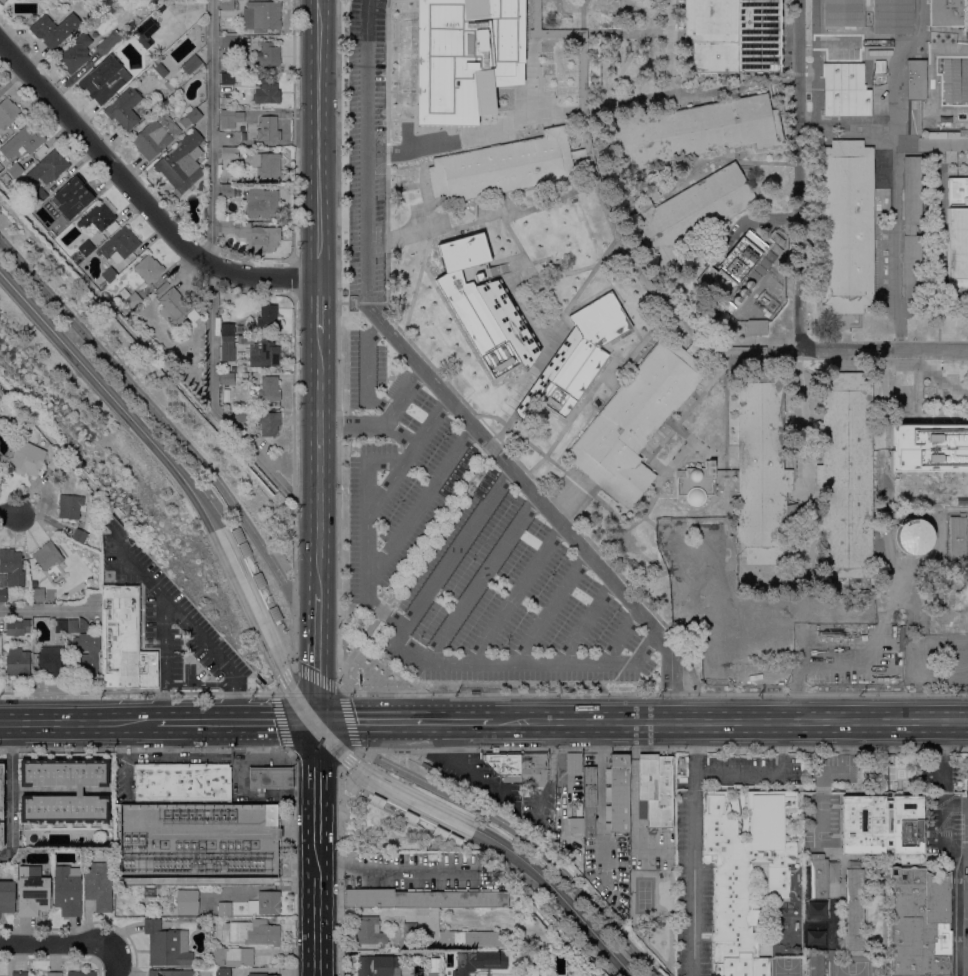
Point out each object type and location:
building: (156, 2)
road: (583, 2)
building: (227, 5)
building: (1, 6)
building: (161, 8)
building: (843, 13)
building: (948, 13)
building: (262, 16)
building: (893, 17)
road: (646, 18)
road: (582, 21)
building: (132, 26)
building: (54, 30)
building: (145, 33)
road: (633, 33)
building: (731, 36)
building: (230, 40)
building: (109, 43)
road: (669, 47)
building: (75, 54)
building: (268, 55)
building: (464, 57)
road: (814, 61)
building: (191, 64)
building: (159, 69)
road: (533, 72)
road: (797, 73)
road: (809, 73)
road: (772, 74)
building: (229, 79)
building: (915, 79)
building: (104, 80)
building: (844, 90)
road: (690, 91)
road: (388, 94)
building: (266, 95)
road: (895, 104)
building: (124, 109)
building: (8, 113)
building: (231, 116)
building: (191, 118)
road: (390, 119)
road: (514, 121)
road: (847, 123)
building: (268, 129)
road: (293, 130)
road: (427, 130)
building: (691, 132)
building: (155, 136)
road: (393, 138)
road: (318, 139)
building: (23, 141)
building: (818, 142)
building: (0, 143)
parking lot: (365, 145)
road: (407, 150)
road: (588, 151)
building: (230, 153)
building: (181, 164)
building: (266, 165)
building: (501, 167)
building: (48, 168)
building: (14, 170)
road: (799, 175)
road: (592, 184)
building: (202, 186)
building: (596, 186)
building: (227, 191)
road: (139, 194)
building: (39, 196)
building: (71, 198)
road: (894, 201)
building: (261, 202)
road: (607, 213)
building: (687, 214)
building: (227, 218)
building: (97, 219)
building: (846, 227)
building: (112, 228)
building: (912, 230)
building: (56, 232)
building: (254, 236)
building: (958, 240)
road: (428, 242)
building: (119, 246)
road: (633, 247)
building: (86, 248)
road: (529, 266)
building: (735, 268)
building: (148, 269)
road: (562, 269)
road: (429, 275)
building: (108, 276)
road: (211, 276)
road: (588, 276)
road: (293, 277)
building: (130, 297)
road: (895, 304)
road: (318, 305)
building: (483, 306)
building: (176, 308)
building: (268, 318)
road: (632, 324)
building: (757, 328)
building: (227, 329)
road: (337, 345)
road: (693, 346)
building: (227, 349)
road: (850, 350)
road: (934, 350)
building: (261, 351)
building: (575, 357)
road: (760, 362)
road: (367, 371)
building: (227, 379)
road: (537, 381)
building: (269, 389)
road: (440, 390)
road: (591, 391)
building: (2, 396)
road: (402, 398)
building: (260, 409)
road: (154, 410)
building: (241, 416)
road: (927, 419)
building: (635, 420)
building: (268, 423)
road: (369, 426)
road: (293, 443)
road: (490, 447)
building: (929, 447)
road: (409, 453)
road: (510, 453)
building: (27, 458)
building: (54, 460)
road: (318, 462)
building: (1, 463)
parking lot: (393, 466)
road: (886, 470)
building: (762, 471)
road: (725, 474)
building: (845, 476)
building: (700, 482)
road: (657, 484)
road: (423, 500)
road: (604, 504)
building: (70, 506)
road: (812, 508)
road: (8, 514)
building: (915, 524)
road: (435, 530)
building: (709, 530)
building: (675, 532)
building: (237, 535)
building: (79, 536)
building: (98, 537)
building: (956, 540)
road: (456, 547)
building: (244, 549)
building: (915, 550)
building: (47, 556)
building: (698, 557)
building: (12, 567)
road: (142, 575)
road: (645, 575)
road: (481, 579)
building: (258, 580)
building: (699, 583)
road: (516, 593)
building: (2, 595)
building: (38, 595)
road: (265, 600)
parking lot: (510, 604)
road: (550, 608)
road: (46, 610)
road: (380, 610)
building: (841, 610)
building: (699, 611)
building: (767, 612)
building: (274, 614)
parking lot: (170, 617)
road: (585, 622)
building: (60, 626)
building: (77, 626)
building: (18, 628)
road: (294, 631)
road: (620, 635)
building: (124, 641)
building: (766, 641)
road: (358, 646)
parking lot: (840, 654)
road: (420, 655)
road: (215, 656)
building: (716, 656)
road: (316, 657)
building: (49, 659)
building: (926, 660)
building: (953, 661)
building: (17, 663)
road: (164, 663)
building: (85, 664)
road: (390, 668)
road: (284, 679)
road: (319, 679)
road: (200, 685)
road: (140, 692)
road: (654, 693)
road: (349, 718)
road: (239, 721)
road: (729, 721)
traffic signals: (314, 722)
road: (403, 722)
road: (82, 723)
road: (258, 738)
road: (166, 739)
road: (210, 739)
road: (783, 741)
road: (288, 746)
road: (661, 749)
road: (215, 750)
road: (126, 755)
road: (348, 760)
building: (889, 760)
building: (504, 763)
road: (456, 765)
building: (574, 765)
building: (534, 768)
road: (742, 774)
building: (268, 778)
building: (181, 782)
road: (316, 784)
building: (655, 790)
building: (79, 791)
building: (1, 792)
road: (11, 792)
building: (620, 793)
road: (243, 796)
building: (376, 801)
building: (589, 801)
road: (397, 810)
building: (578, 810)
road: (338, 814)
building: (270, 816)
building: (408, 818)
building: (576, 825)
building: (882, 825)
building: (439, 833)
building: (278, 834)
building: (1, 836)
road: (522, 836)
building: (452, 840)
power substation: (200, 842)
road: (692, 848)
road: (965, 857)
road: (395, 865)
building: (742, 874)
building: (821, 875)
building: (778, 882)
building: (99, 886)
building: (67, 891)
building: (33, 892)
building: (7, 897)
road: (963, 897)
building: (424, 899)
building: (187, 902)
building: (265, 904)
building: (224, 909)
building: (816, 909)
road: (958, 909)
building: (855, 910)
road: (316, 912)
building: (920, 923)
building: (502, 925)
building: (410, 930)
building: (369, 931)
building: (251, 933)
building: (814, 937)
building: (472, 939)
road: (55, 943)
building: (167, 945)
building: (223, 955)
building: (247, 957)
road: (114, 961)
building: (478, 962)
park: (851, 963)
building: (816, 964)
building: (377, 966)
building: (204, 971)
building: (223, 972)
building: (171, 973)
building: (20, 974)
building: (54, 974)
building: (82, 974)
building: (434, 974)
building: (257, 975)

